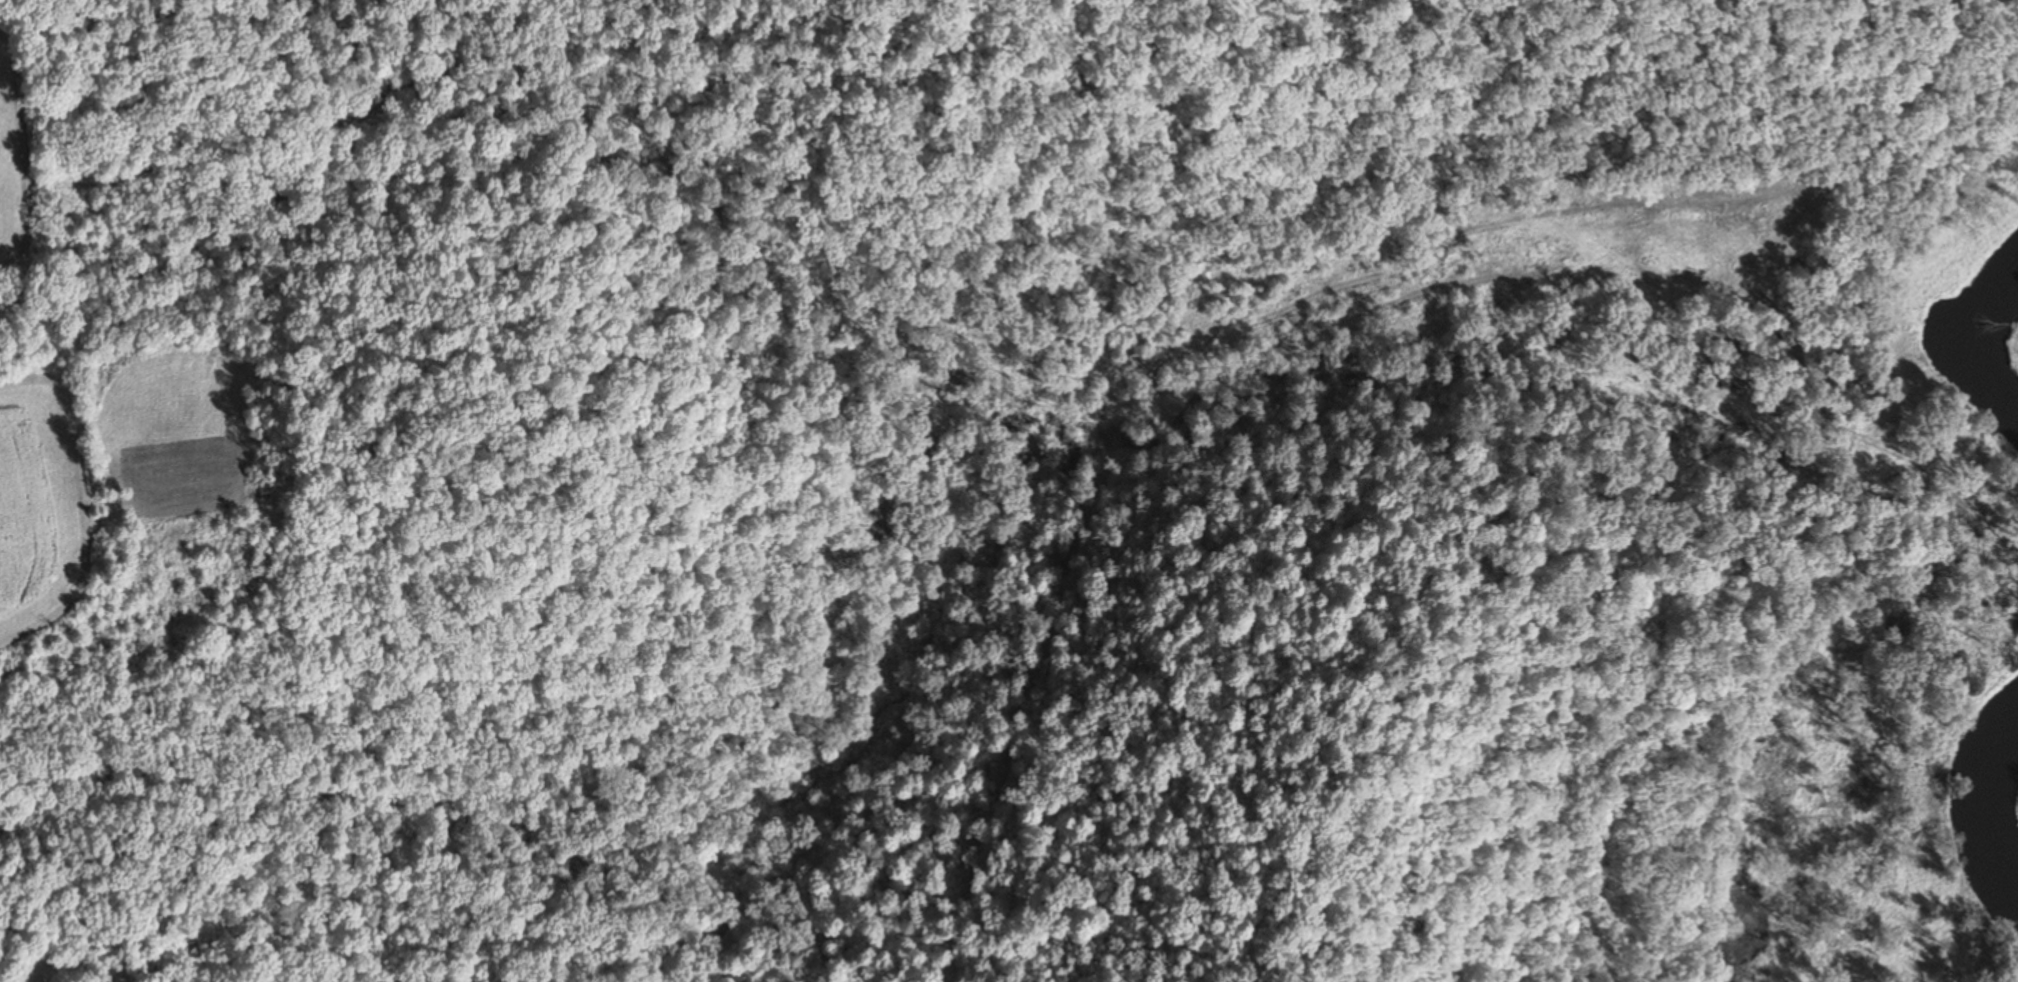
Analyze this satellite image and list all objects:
river: (1962, 336)
river: (1984, 792)

